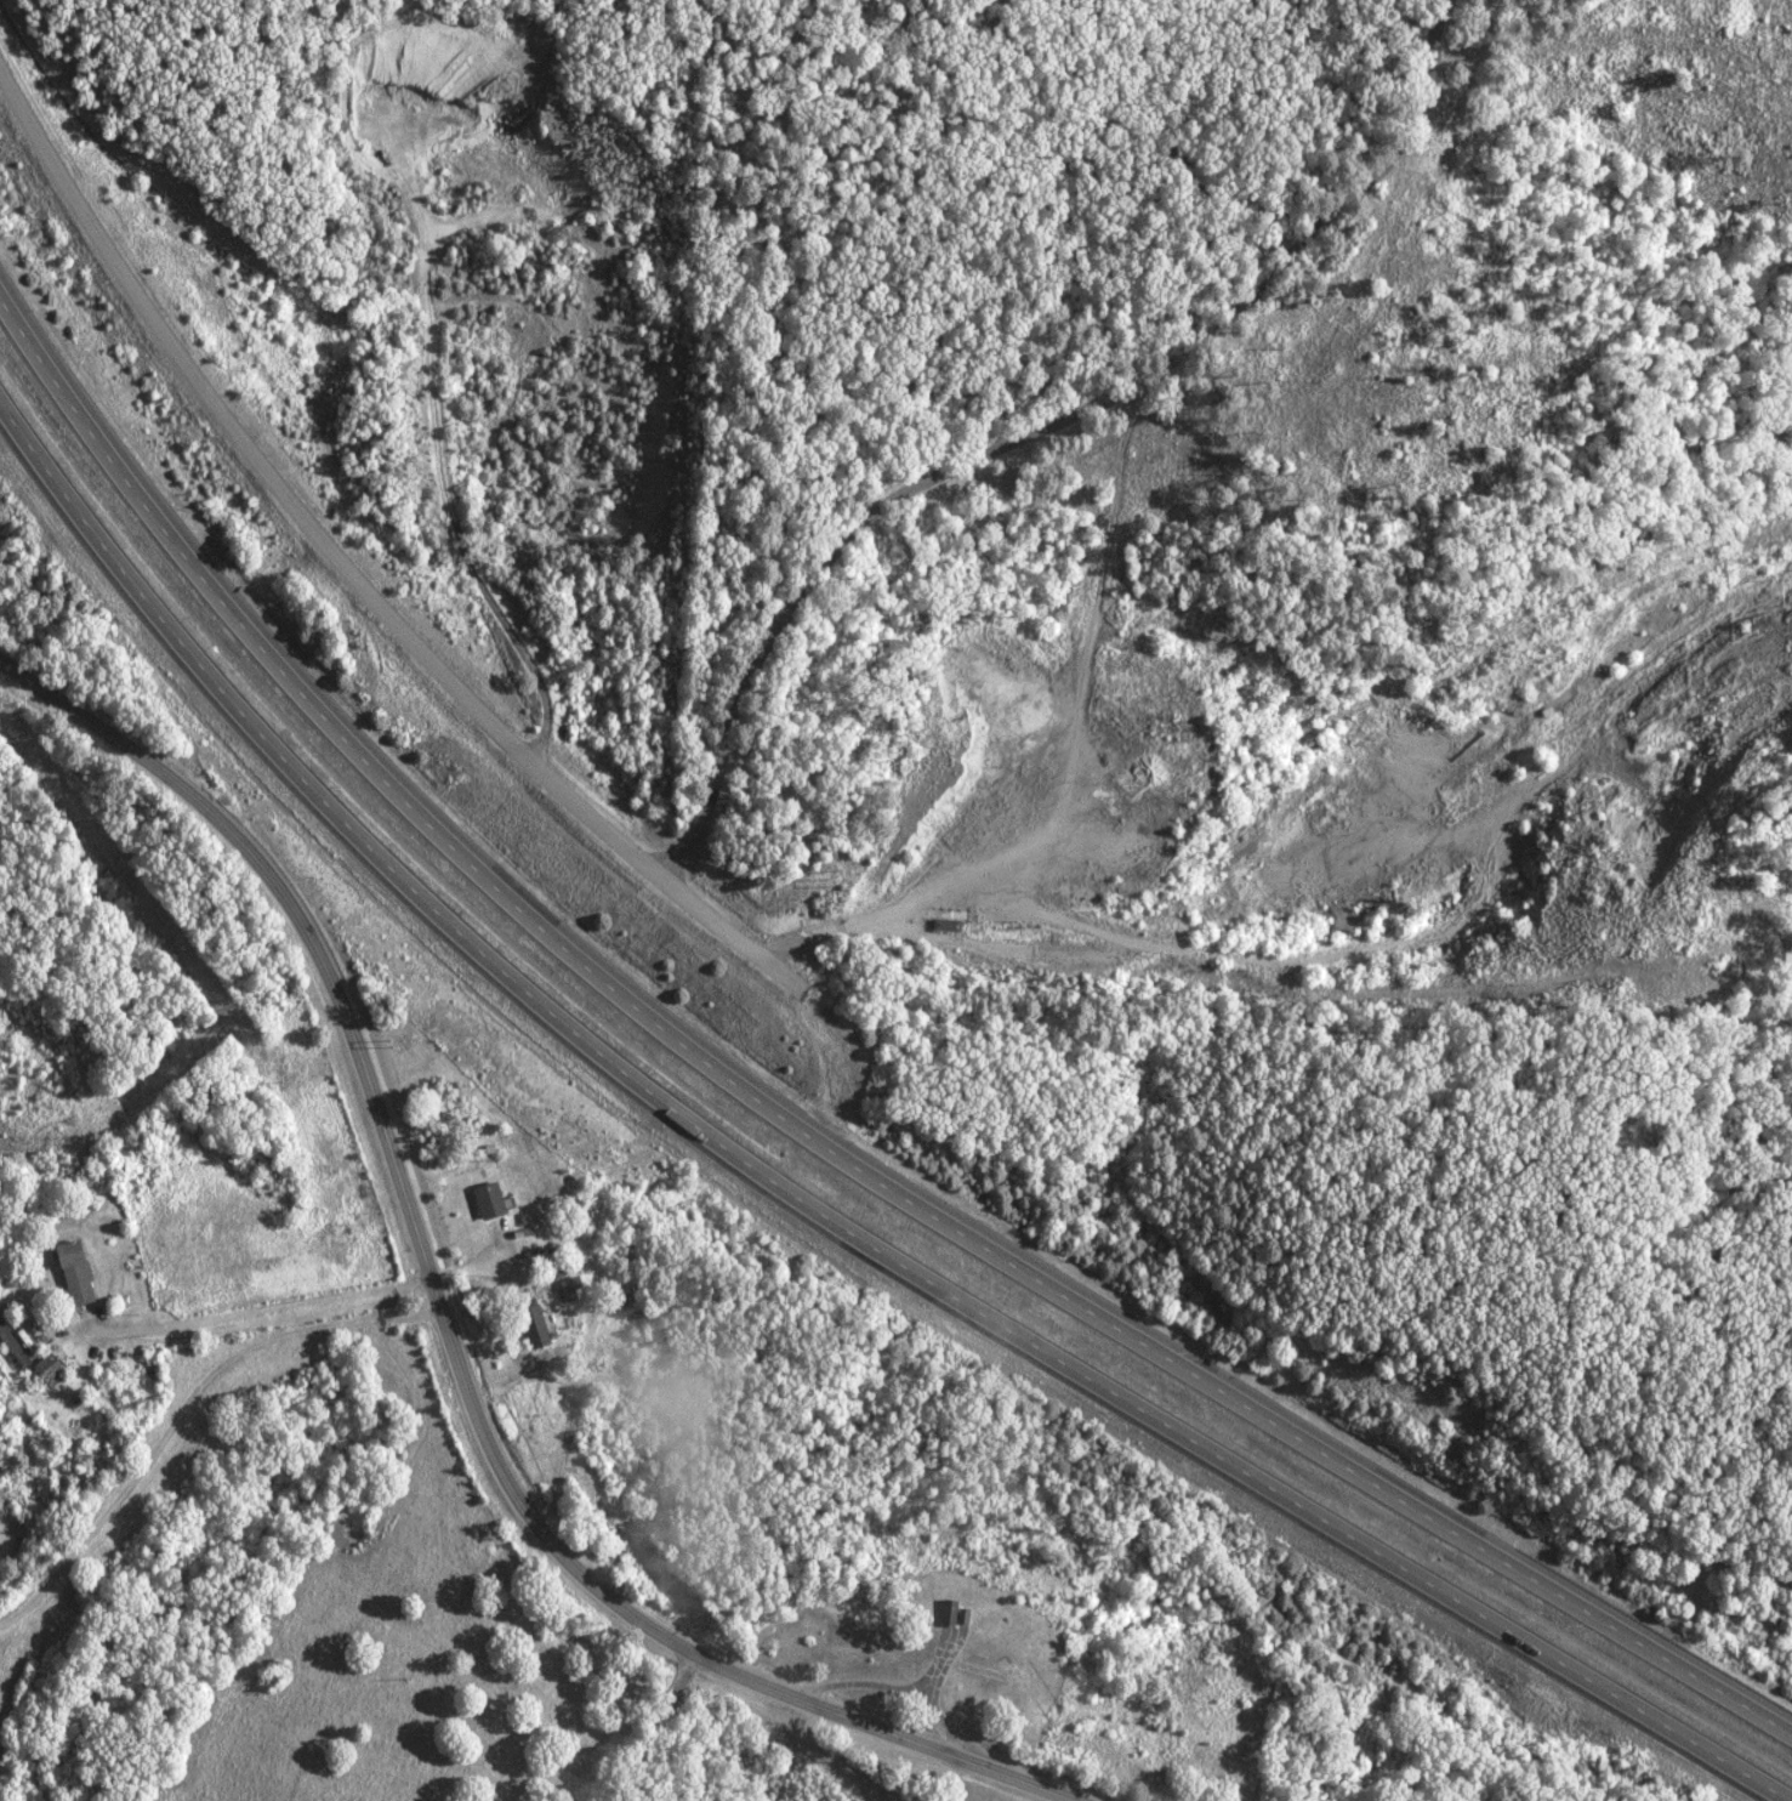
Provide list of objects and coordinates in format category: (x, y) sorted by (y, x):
quarry: (523, 347)
road: (437, 453)
road: (955, 467)
road: (292, 519)
road: (1071, 775)
quarry: (1313, 789)
road: (889, 926)
road: (1411, 936)
road: (798, 1132)
building: (483, 1200)
road: (812, 1206)
building: (69, 1273)
building: (565, 1288)
road: (268, 1307)
road: (446, 1323)
building: (528, 1323)
building: (11, 1350)
building: (44, 1371)
building: (944, 1610)
road: (654, 1723)

